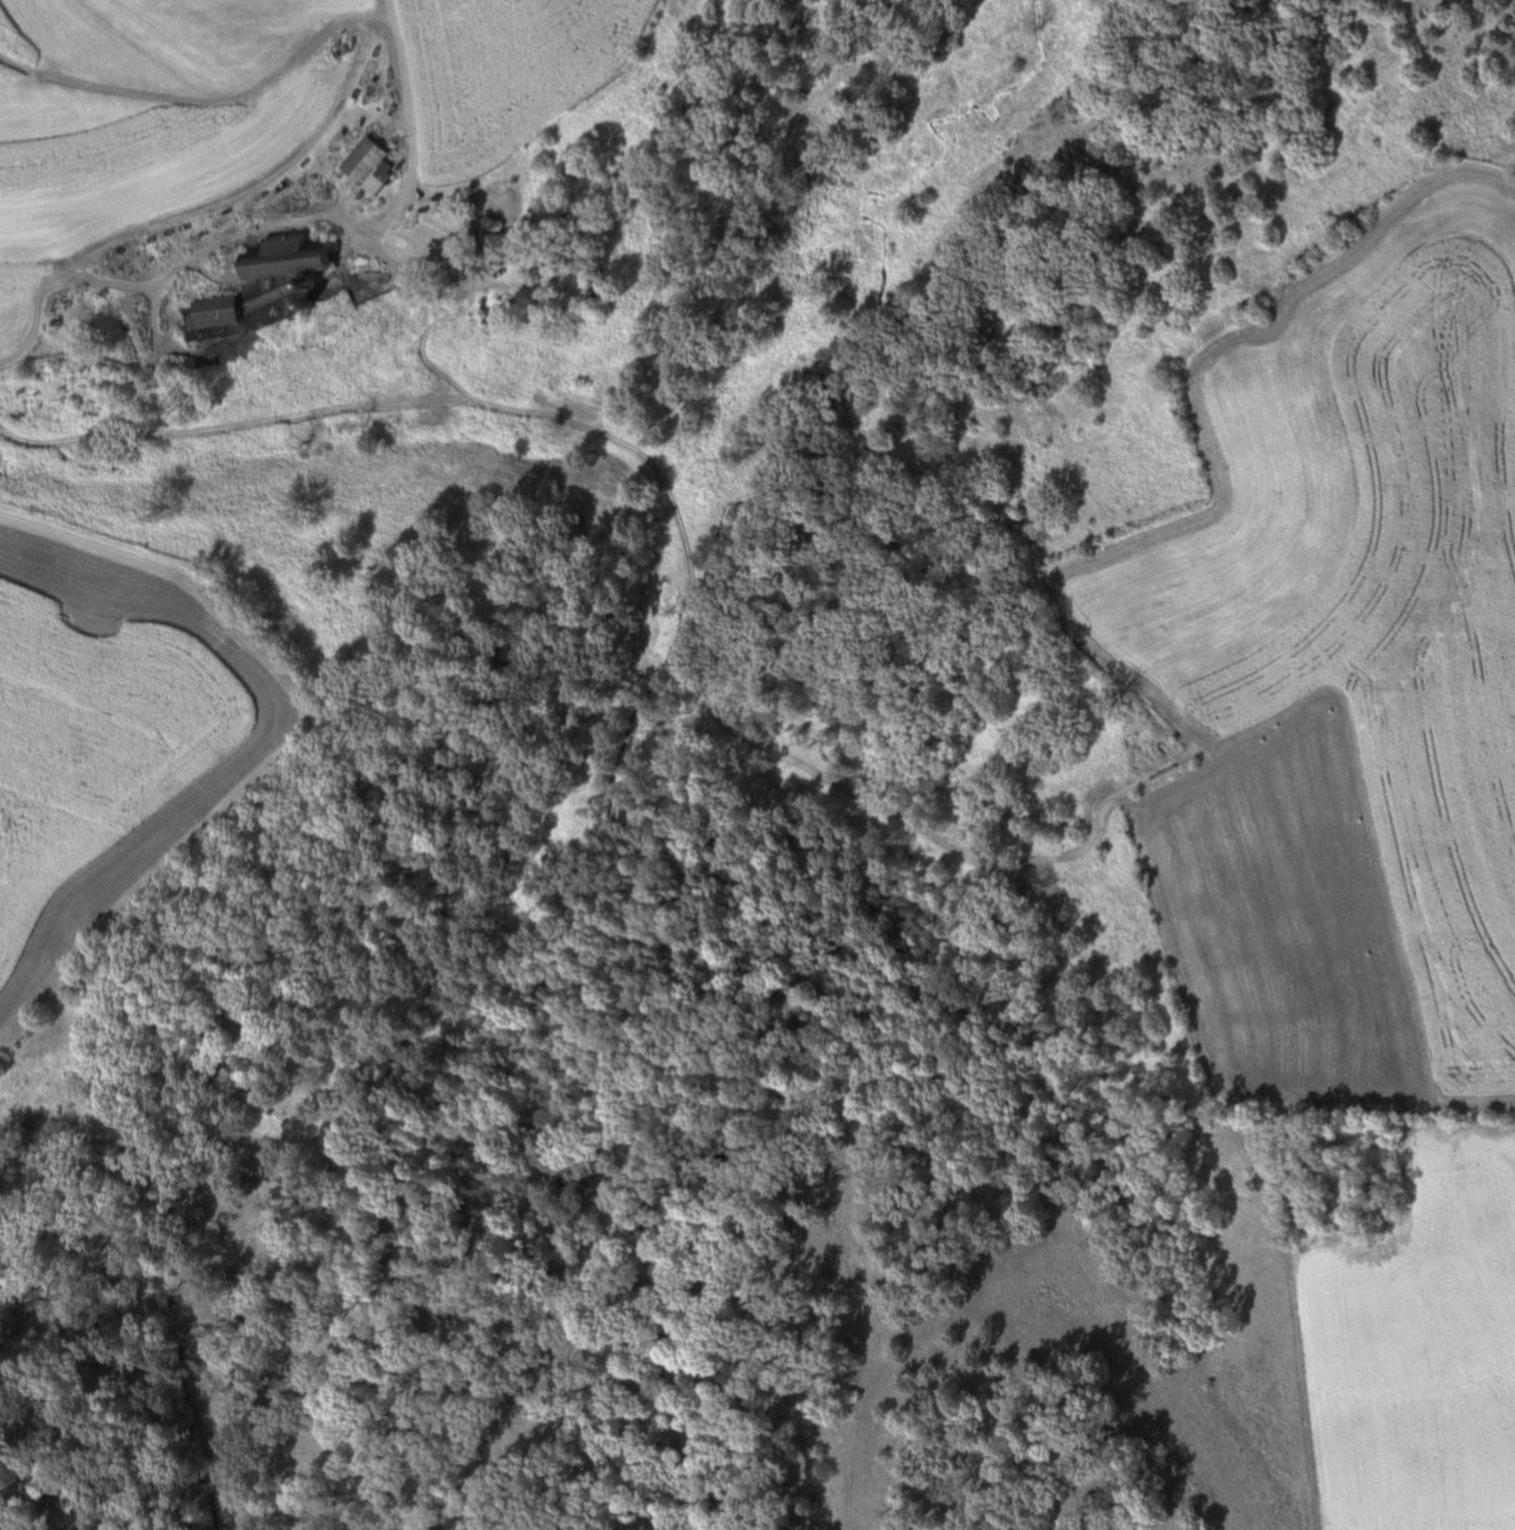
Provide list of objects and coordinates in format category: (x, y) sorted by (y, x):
road: (398, 61)
building: (366, 166)
building: (490, 250)
building: (281, 258)
building: (213, 314)

